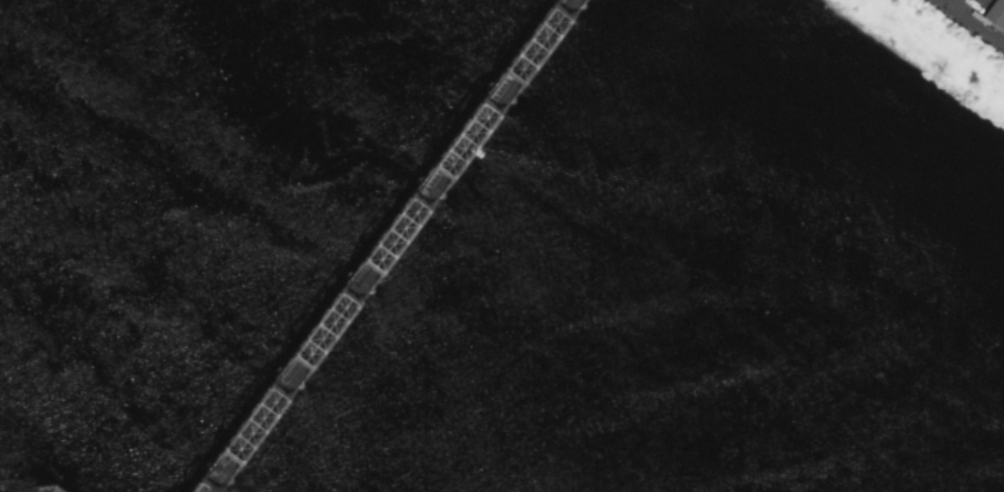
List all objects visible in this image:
building: (995, 12)
road: (972, 21)
railway: (376, 246)
railway: (387, 246)
river: (338, 296)

